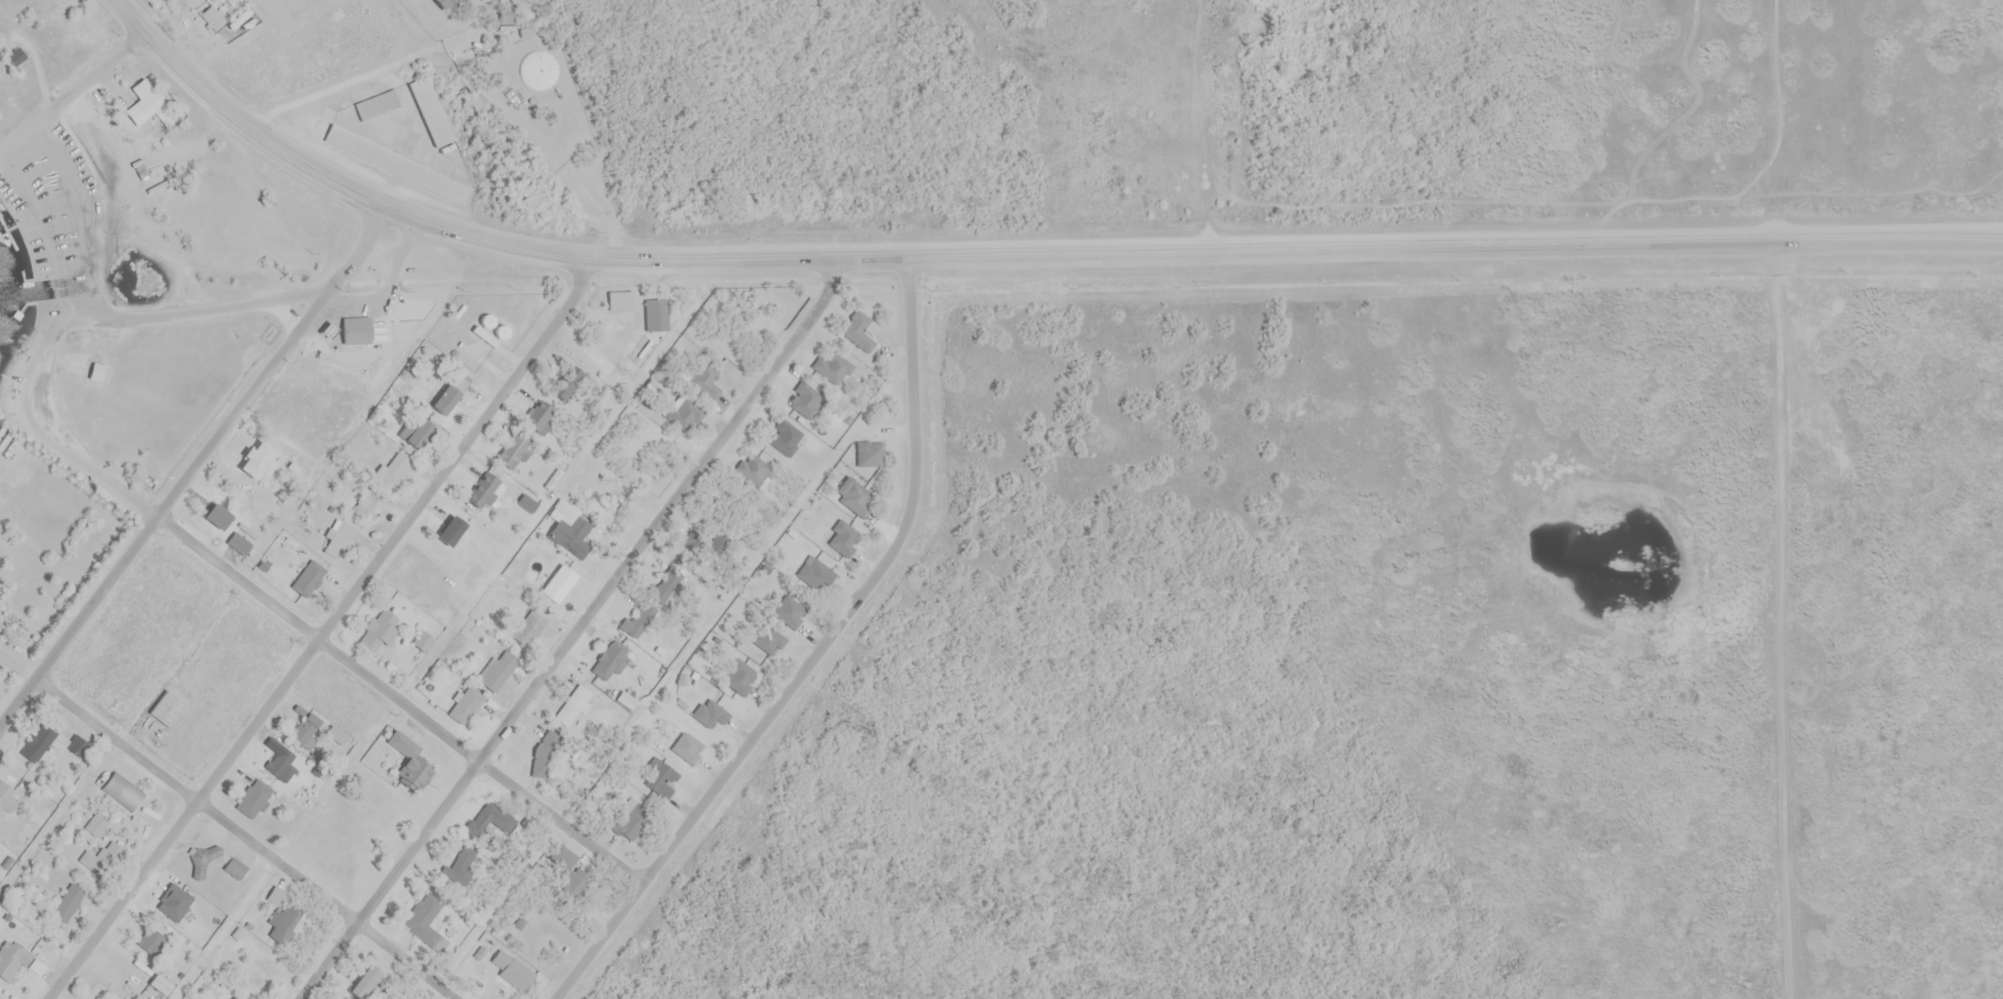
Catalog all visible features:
building: (443, 3)
building: (223, 13)
building: (16, 56)
road: (79, 89)
building: (151, 101)
building: (377, 104)
building: (431, 111)
building: (396, 163)
road: (1024, 255)
road: (96, 286)
building: (620, 300)
road: (214, 306)
building: (657, 313)
building: (355, 330)
building: (858, 330)
building: (603, 362)
building: (833, 367)
building: (96, 372)
building: (565, 381)
building: (706, 381)
building: (449, 393)
building: (804, 399)
building: (685, 414)
building: (538, 415)
building: (418, 433)
building: (785, 437)
building: (515, 453)
building: (870, 453)
building: (258, 459)
road: (194, 467)
building: (395, 467)
building: (755, 470)
building: (486, 490)
building: (366, 499)
building: (858, 499)
building: (528, 501)
building: (217, 515)
building: (569, 519)
building: (450, 529)
road: (186, 536)
building: (337, 536)
building: (843, 537)
building: (239, 543)
building: (719, 546)
building: (815, 572)
building: (309, 576)
building: (789, 612)
building: (638, 618)
building: (529, 627)
building: (379, 630)
road: (324, 631)
road: (576, 632)
building: (768, 639)
building: (423, 640)
road: (815, 655)
road: (18, 665)
building: (500, 670)
building: (739, 676)
building: (467, 702)
building: (573, 704)
building: (165, 707)
building: (710, 713)
building: (306, 728)
building: (53, 743)
building: (687, 746)
building: (544, 753)
building: (280, 760)
building: (409, 761)
road: (481, 761)
building: (659, 776)
building: (122, 790)
building: (253, 796)
building: (7, 797)
building: (629, 821)
building: (95, 825)
building: (490, 825)
road: (249, 837)
building: (102, 858)
building: (203, 859)
building: (235, 868)
building: (568, 871)
building: (457, 873)
building: (277, 895)
building: (67, 902)
building: (427, 919)
building: (152, 942)
building: (11, 958)
building: (364, 981)
building: (160, 984)
building: (234, 997)

